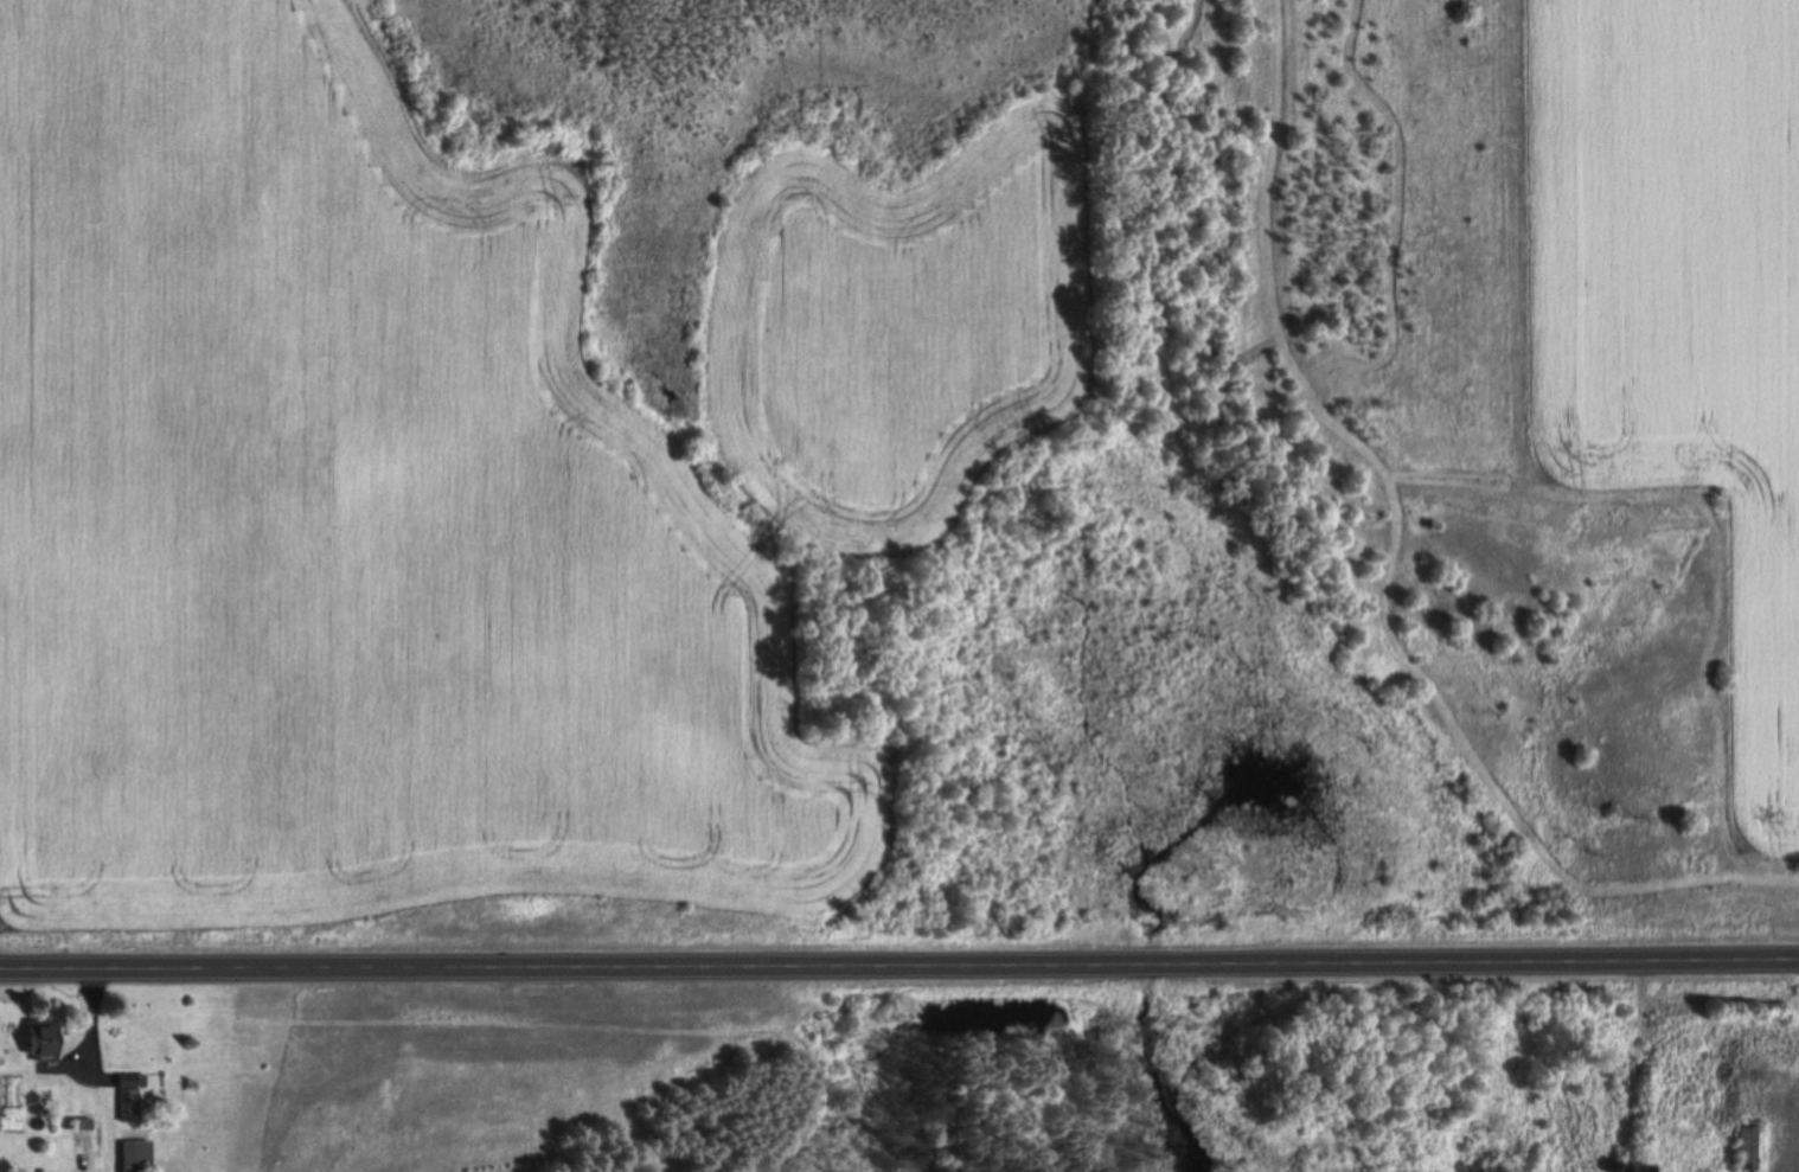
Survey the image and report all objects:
road: (899, 966)
building: (40, 1039)
building: (129, 1096)
building: (1748, 1146)
building: (135, 1155)

